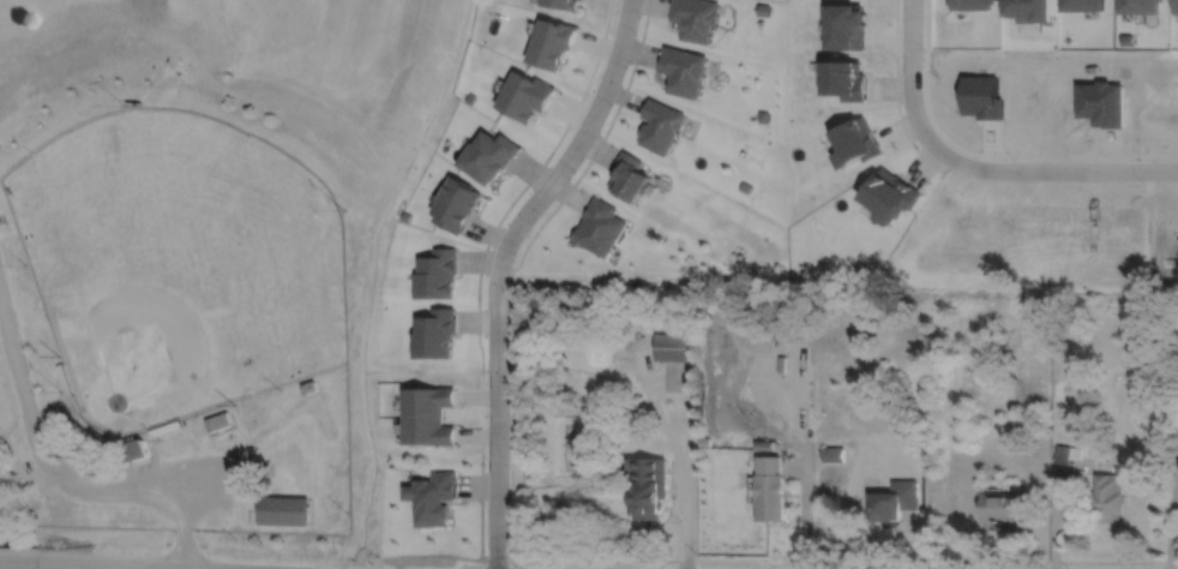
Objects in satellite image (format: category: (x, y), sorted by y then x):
building: (564, 5)
building: (552, 46)
road: (908, 52)
building: (524, 98)
road: (1028, 166)
park: (178, 263)
road: (499, 266)
building: (672, 348)
building: (427, 418)
building: (215, 420)
building: (136, 450)
road: (62, 484)
building: (648, 490)
building: (769, 490)
building: (1107, 499)
building: (895, 507)
building: (282, 509)
building: (1000, 509)
road: (1171, 511)
river: (8, 538)
road: (19, 561)
road: (108, 565)

